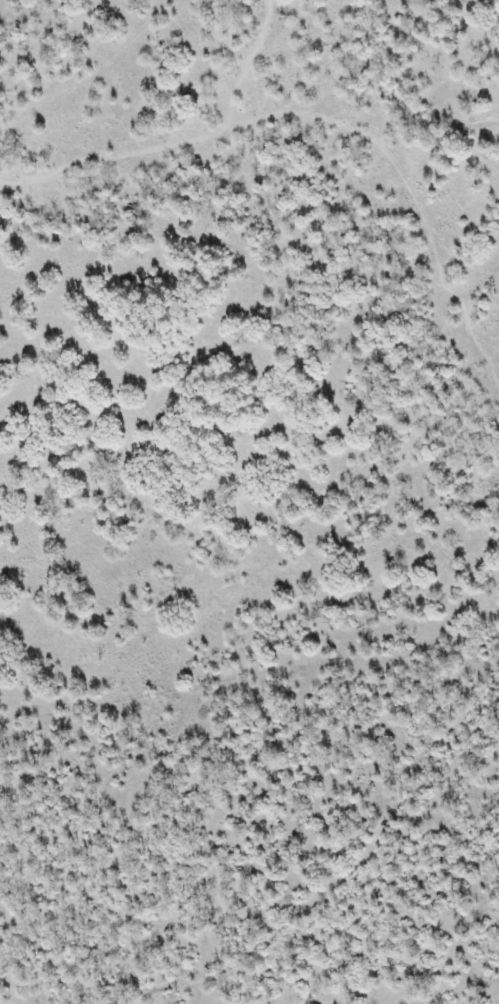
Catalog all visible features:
road: (245, 120)

